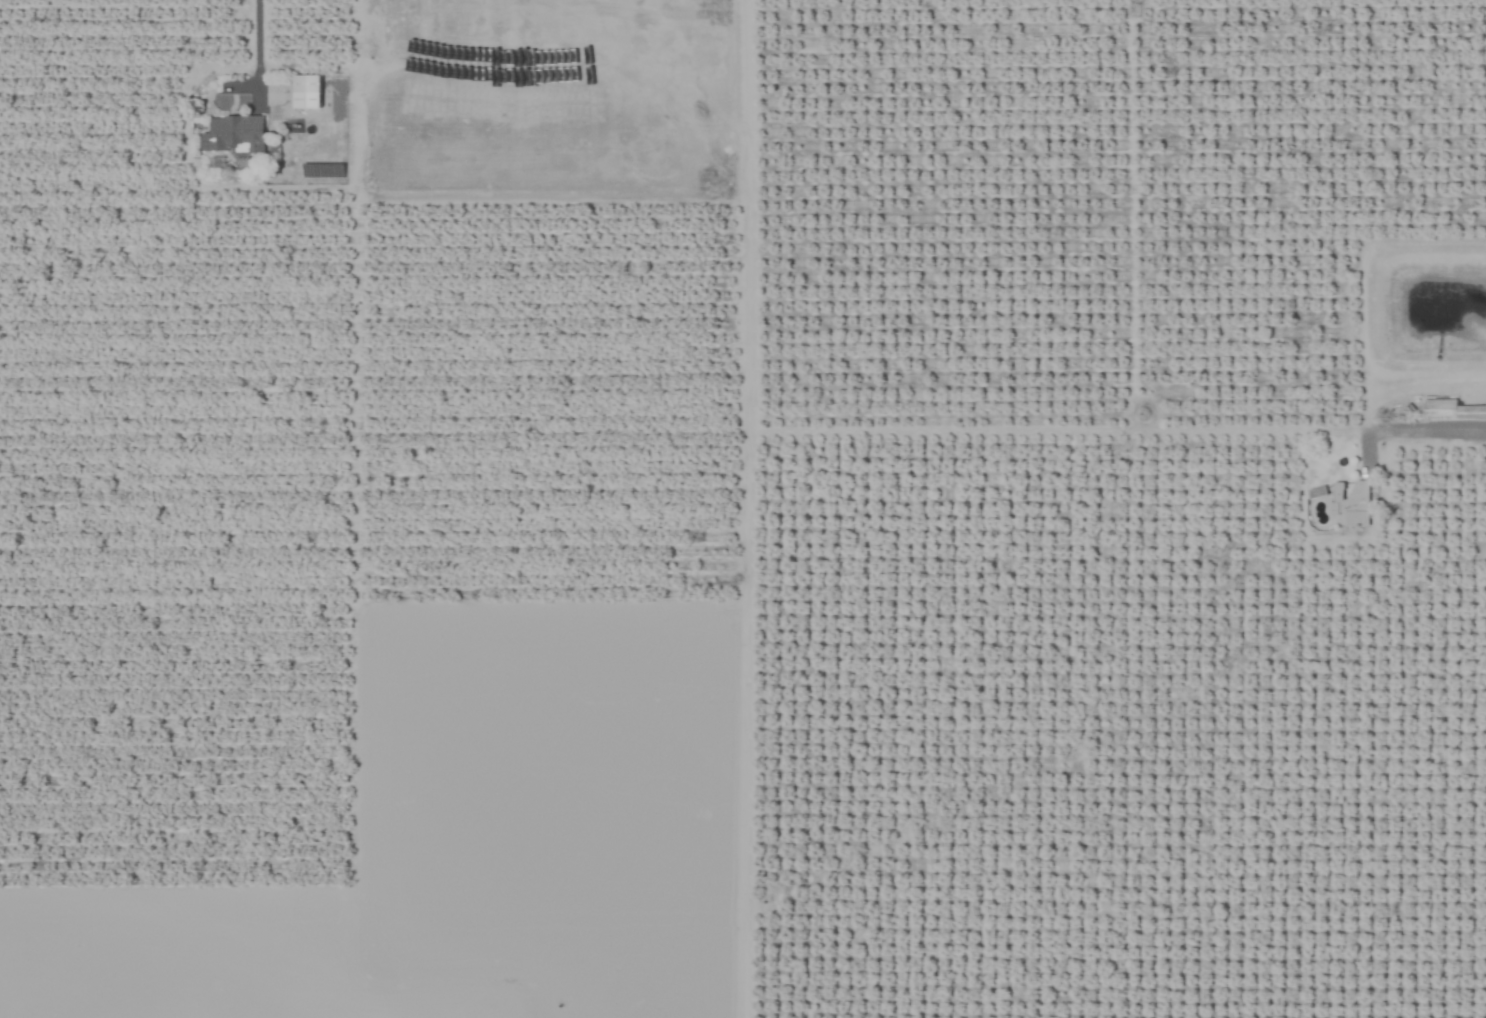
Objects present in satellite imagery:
road: (255, 54)
building: (306, 92)
building: (233, 135)
building: (1451, 411)
road: (1426, 434)
building: (1350, 502)

